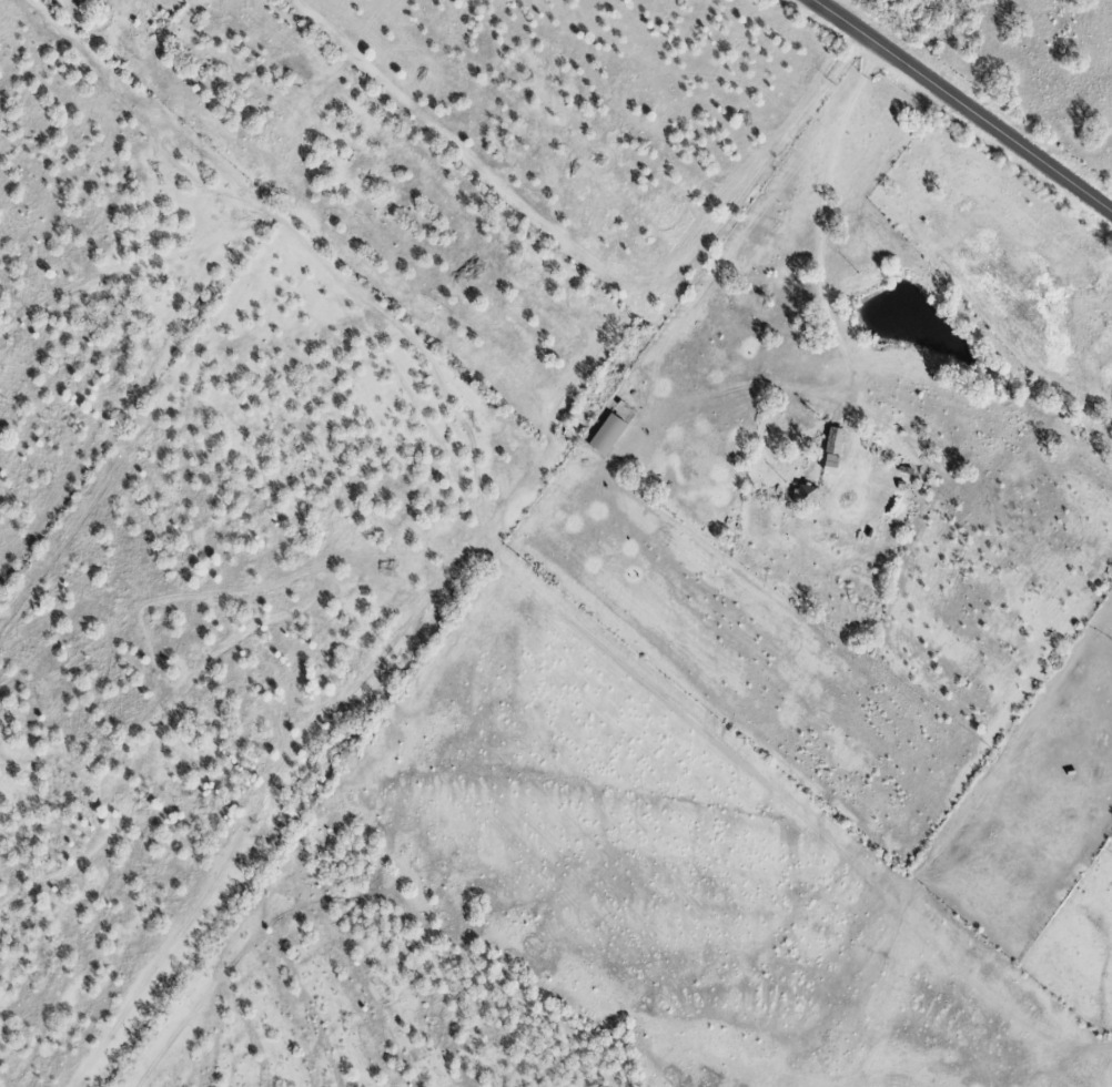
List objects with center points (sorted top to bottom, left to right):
road: (825, 3)
road: (962, 104)
road: (820, 262)
building: (608, 435)
building: (835, 450)
building: (805, 496)

